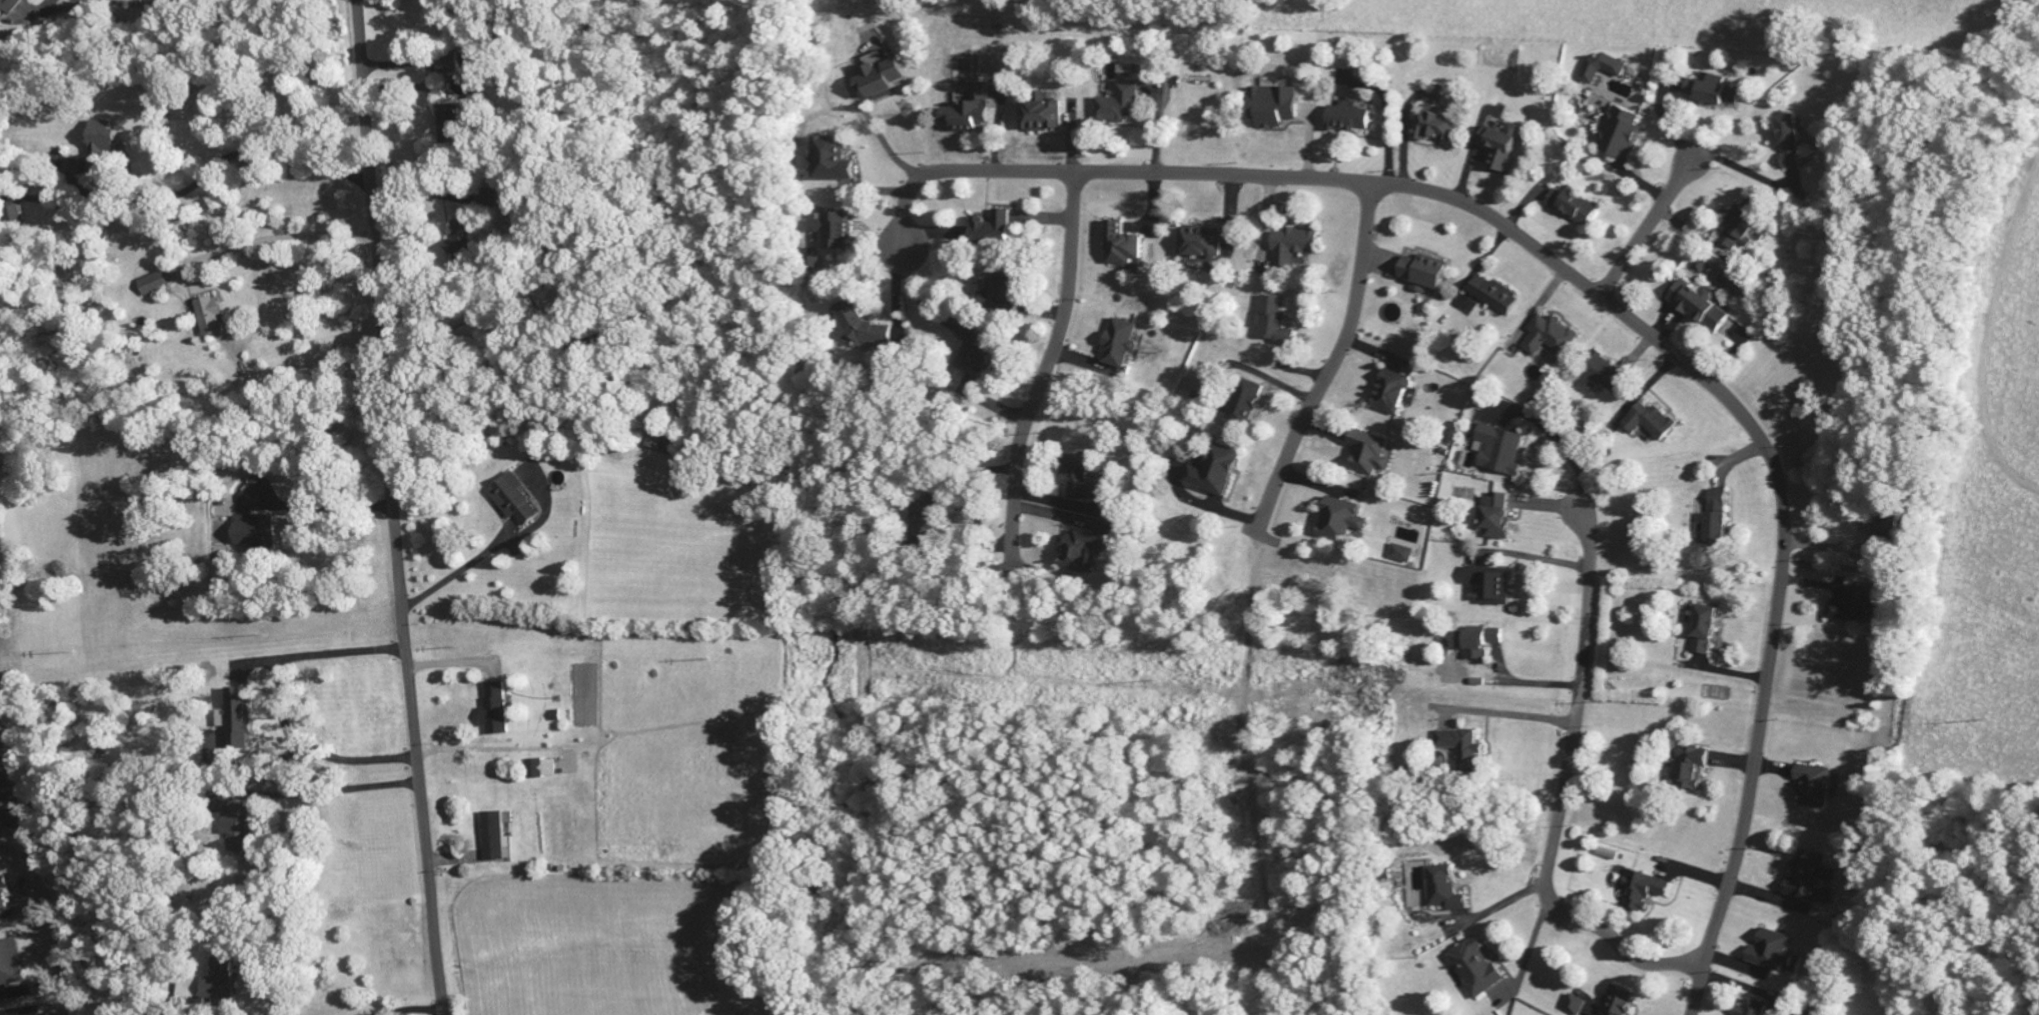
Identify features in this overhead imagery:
building: (7, 6)
building: (456, 67)
building: (1601, 69)
building: (881, 82)
building: (1712, 93)
building: (1119, 107)
building: (1274, 107)
building: (969, 112)
building: (1040, 116)
building: (1349, 120)
building: (449, 126)
building: (1436, 127)
building: (1622, 133)
building: (1791, 142)
building: (1503, 146)
building: (101, 149)
building: (832, 162)
building: (496, 199)
building: (1572, 208)
building: (1738, 228)
building: (992, 230)
road: (1643, 232)
building: (835, 233)
building: (459, 242)
building: (1196, 244)
building: (1120, 247)
building: (1292, 247)
building: (1424, 275)
building: (152, 286)
building: (999, 289)
building: (1494, 297)
road: (1617, 307)
building: (1700, 308)
building: (209, 319)
building: (1270, 319)
building: (861, 328)
building: (1546, 338)
building: (1119, 345)
building: (976, 353)
road: (1336, 356)
road: (1047, 366)
building: (1602, 375)
building: (1390, 394)
building: (1244, 405)
building: (1649, 423)
building: (657, 439)
building: (1498, 451)
building: (1367, 455)
building: (1215, 473)
building: (1082, 483)
building: (1720, 501)
building: (513, 502)
road: (393, 508)
building: (924, 514)
building: (1496, 519)
building: (1339, 521)
building: (1719, 530)
building: (254, 533)
building: (1081, 553)
building: (1400, 555)
building: (1491, 586)
building: (1850, 608)
building: (1706, 632)
building: (1478, 644)
building: (493, 711)
building: (236, 720)
building: (1461, 750)
building: (1692, 768)
building: (539, 770)
building: (1814, 788)
road: (1563, 795)
building: (238, 830)
building: (493, 840)
building: (1609, 857)
building: (1812, 882)
building: (1442, 891)
building: (1642, 893)
building: (1, 894)
building: (1772, 954)
building: (9, 965)
building: (1474, 970)
building: (220, 986)
building: (1619, 1002)
building: (1574, 1006)
building: (1754, 1009)

